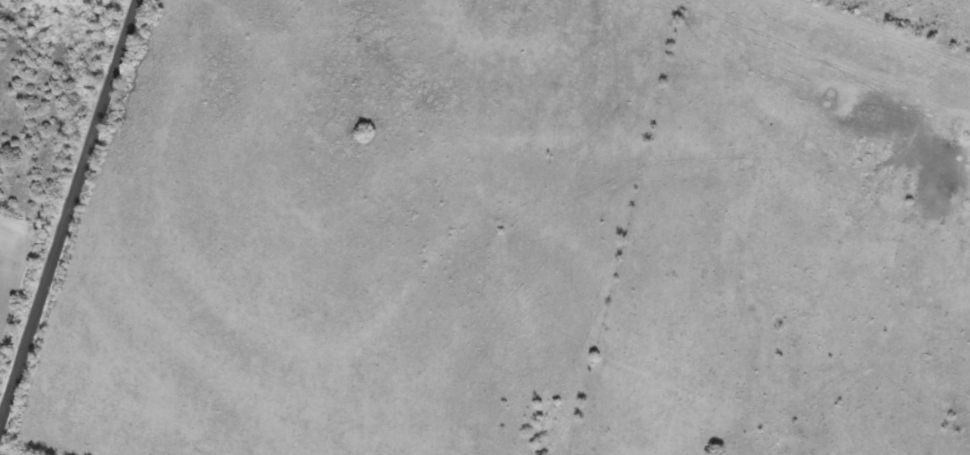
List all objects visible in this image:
road: (68, 211)

